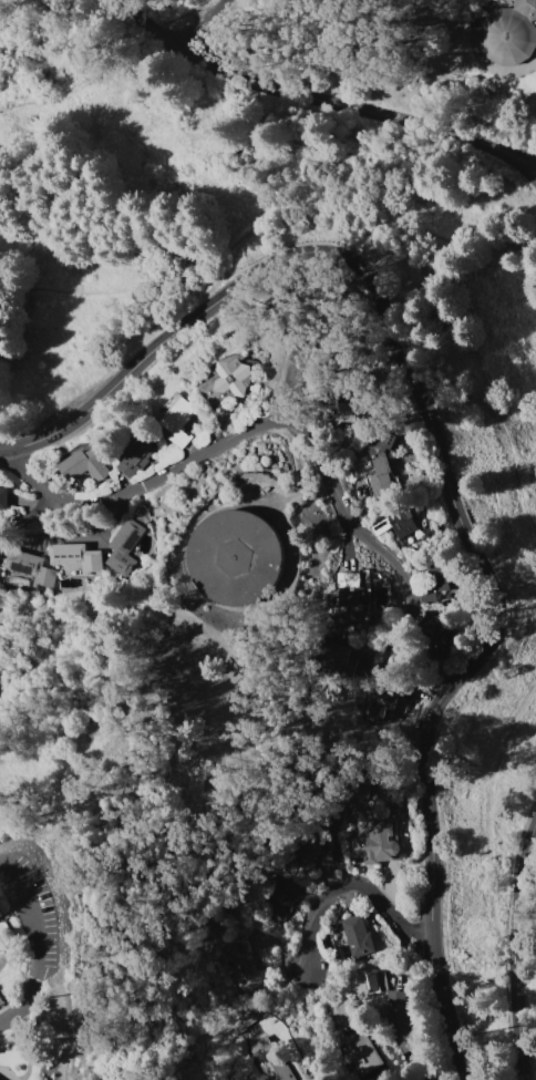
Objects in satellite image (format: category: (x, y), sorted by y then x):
road: (213, 17)
building: (509, 32)
road: (491, 65)
road: (90, 81)
road: (320, 103)
road: (452, 209)
road: (357, 216)
building: (302, 367)
building: (227, 380)
building: (351, 411)
building: (176, 419)
building: (224, 421)
road: (278, 421)
building: (135, 457)
building: (379, 462)
building: (84, 464)
road: (444, 466)
road: (299, 473)
road: (32, 476)
building: (3, 497)
building: (396, 523)
building: (123, 546)
road: (185, 551)
building: (76, 557)
building: (237, 558)
storage tank: (237, 558)
building: (30, 568)
road: (182, 582)
building: (436, 583)
building: (353, 594)
road: (176, 610)
road: (78, 616)
building: (433, 631)
building: (336, 654)
building: (379, 702)
road: (238, 737)
building: (360, 793)
road: (492, 823)
building: (374, 843)
building: (315, 853)
road: (351, 881)
building: (277, 898)
road: (13, 909)
parking lot: (38, 927)
building: (355, 935)
road: (6, 947)
road: (41, 947)
road: (516, 959)
building: (245, 966)
road: (526, 978)
building: (374, 980)
building: (396, 998)
building: (1, 1002)
building: (246, 1017)
building: (402, 1030)
road: (70, 1031)
building: (355, 1041)
building: (268, 1060)

